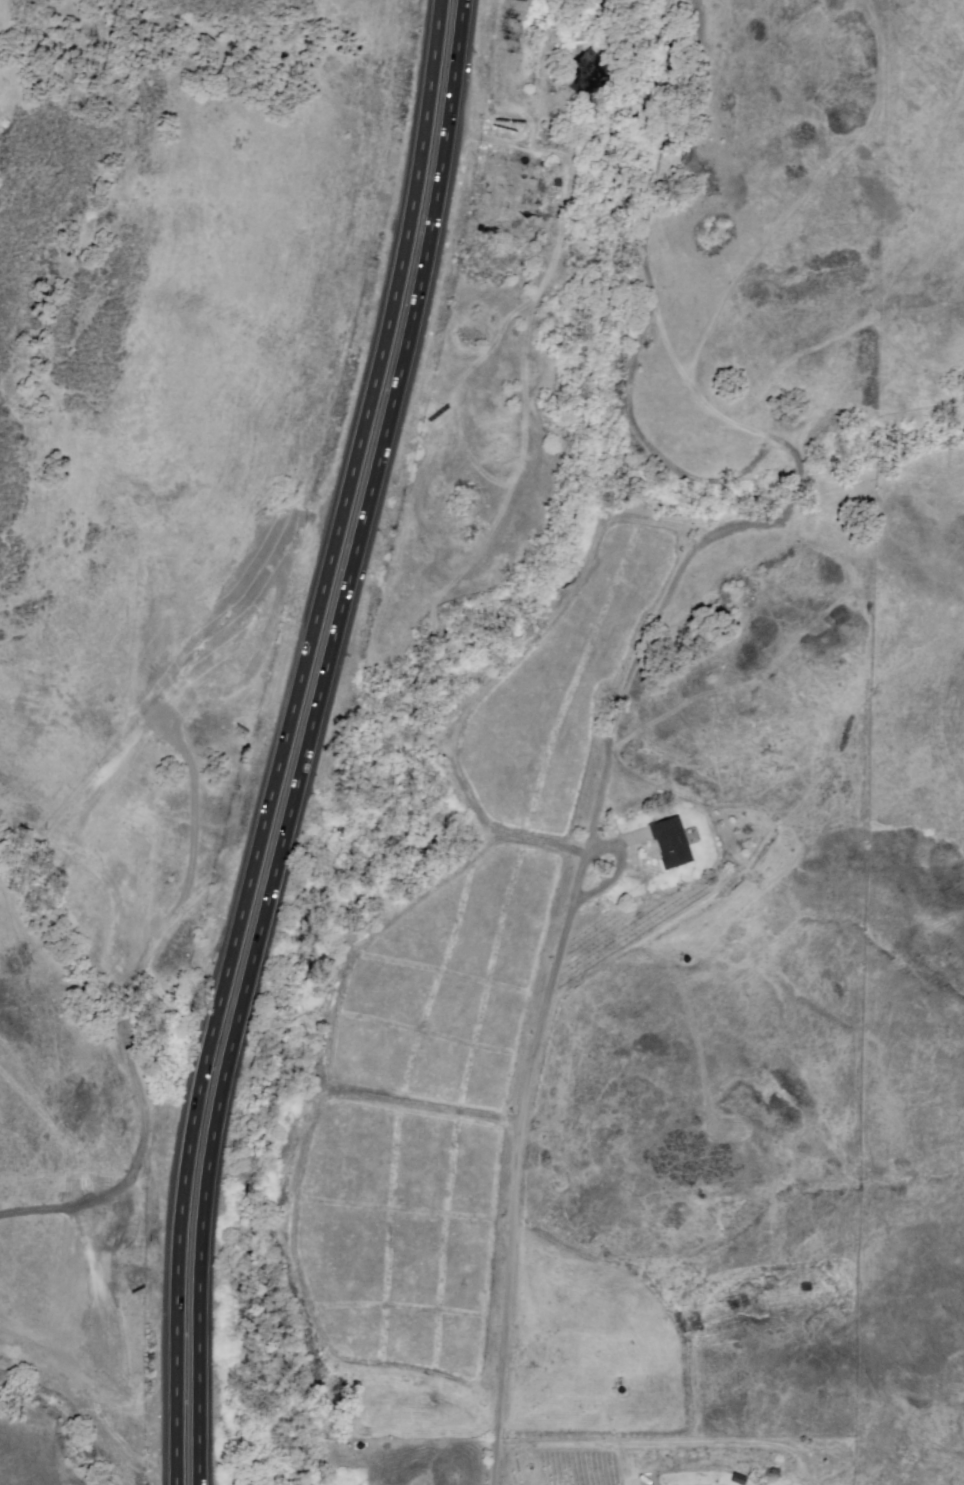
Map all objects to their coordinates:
building: (593, 74)
road: (515, 142)
road: (288, 739)
road: (310, 740)
building: (673, 842)
building: (739, 1478)

